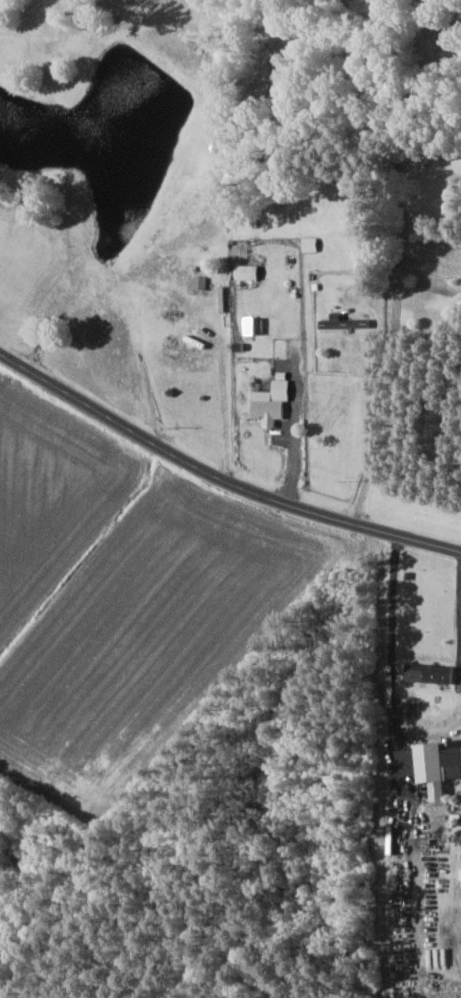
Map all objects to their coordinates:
building: (311, 244)
building: (249, 272)
building: (347, 322)
building: (276, 401)
road: (377, 416)
road: (297, 430)
road: (220, 473)
road: (458, 592)
building: (432, 672)
building: (439, 766)

